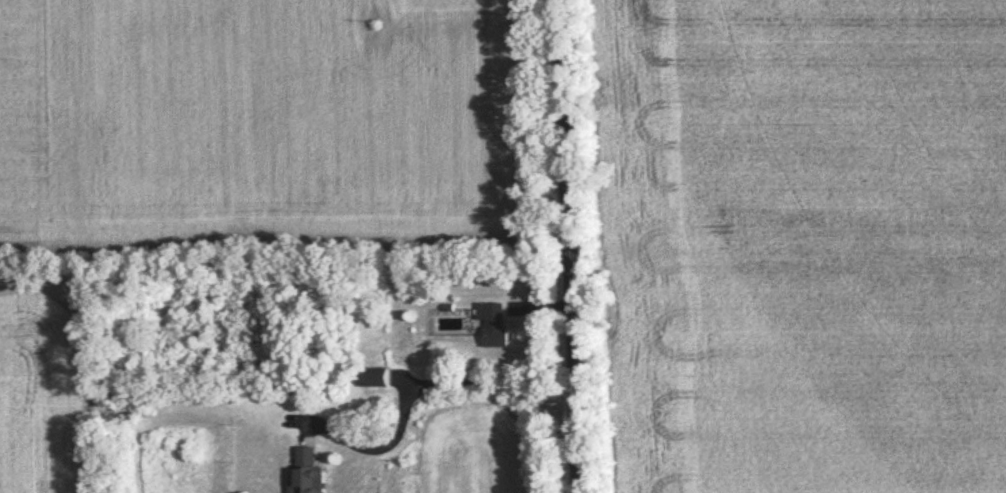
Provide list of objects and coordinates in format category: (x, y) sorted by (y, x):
road: (570, 246)
building: (492, 326)
building: (372, 379)
building: (304, 472)

